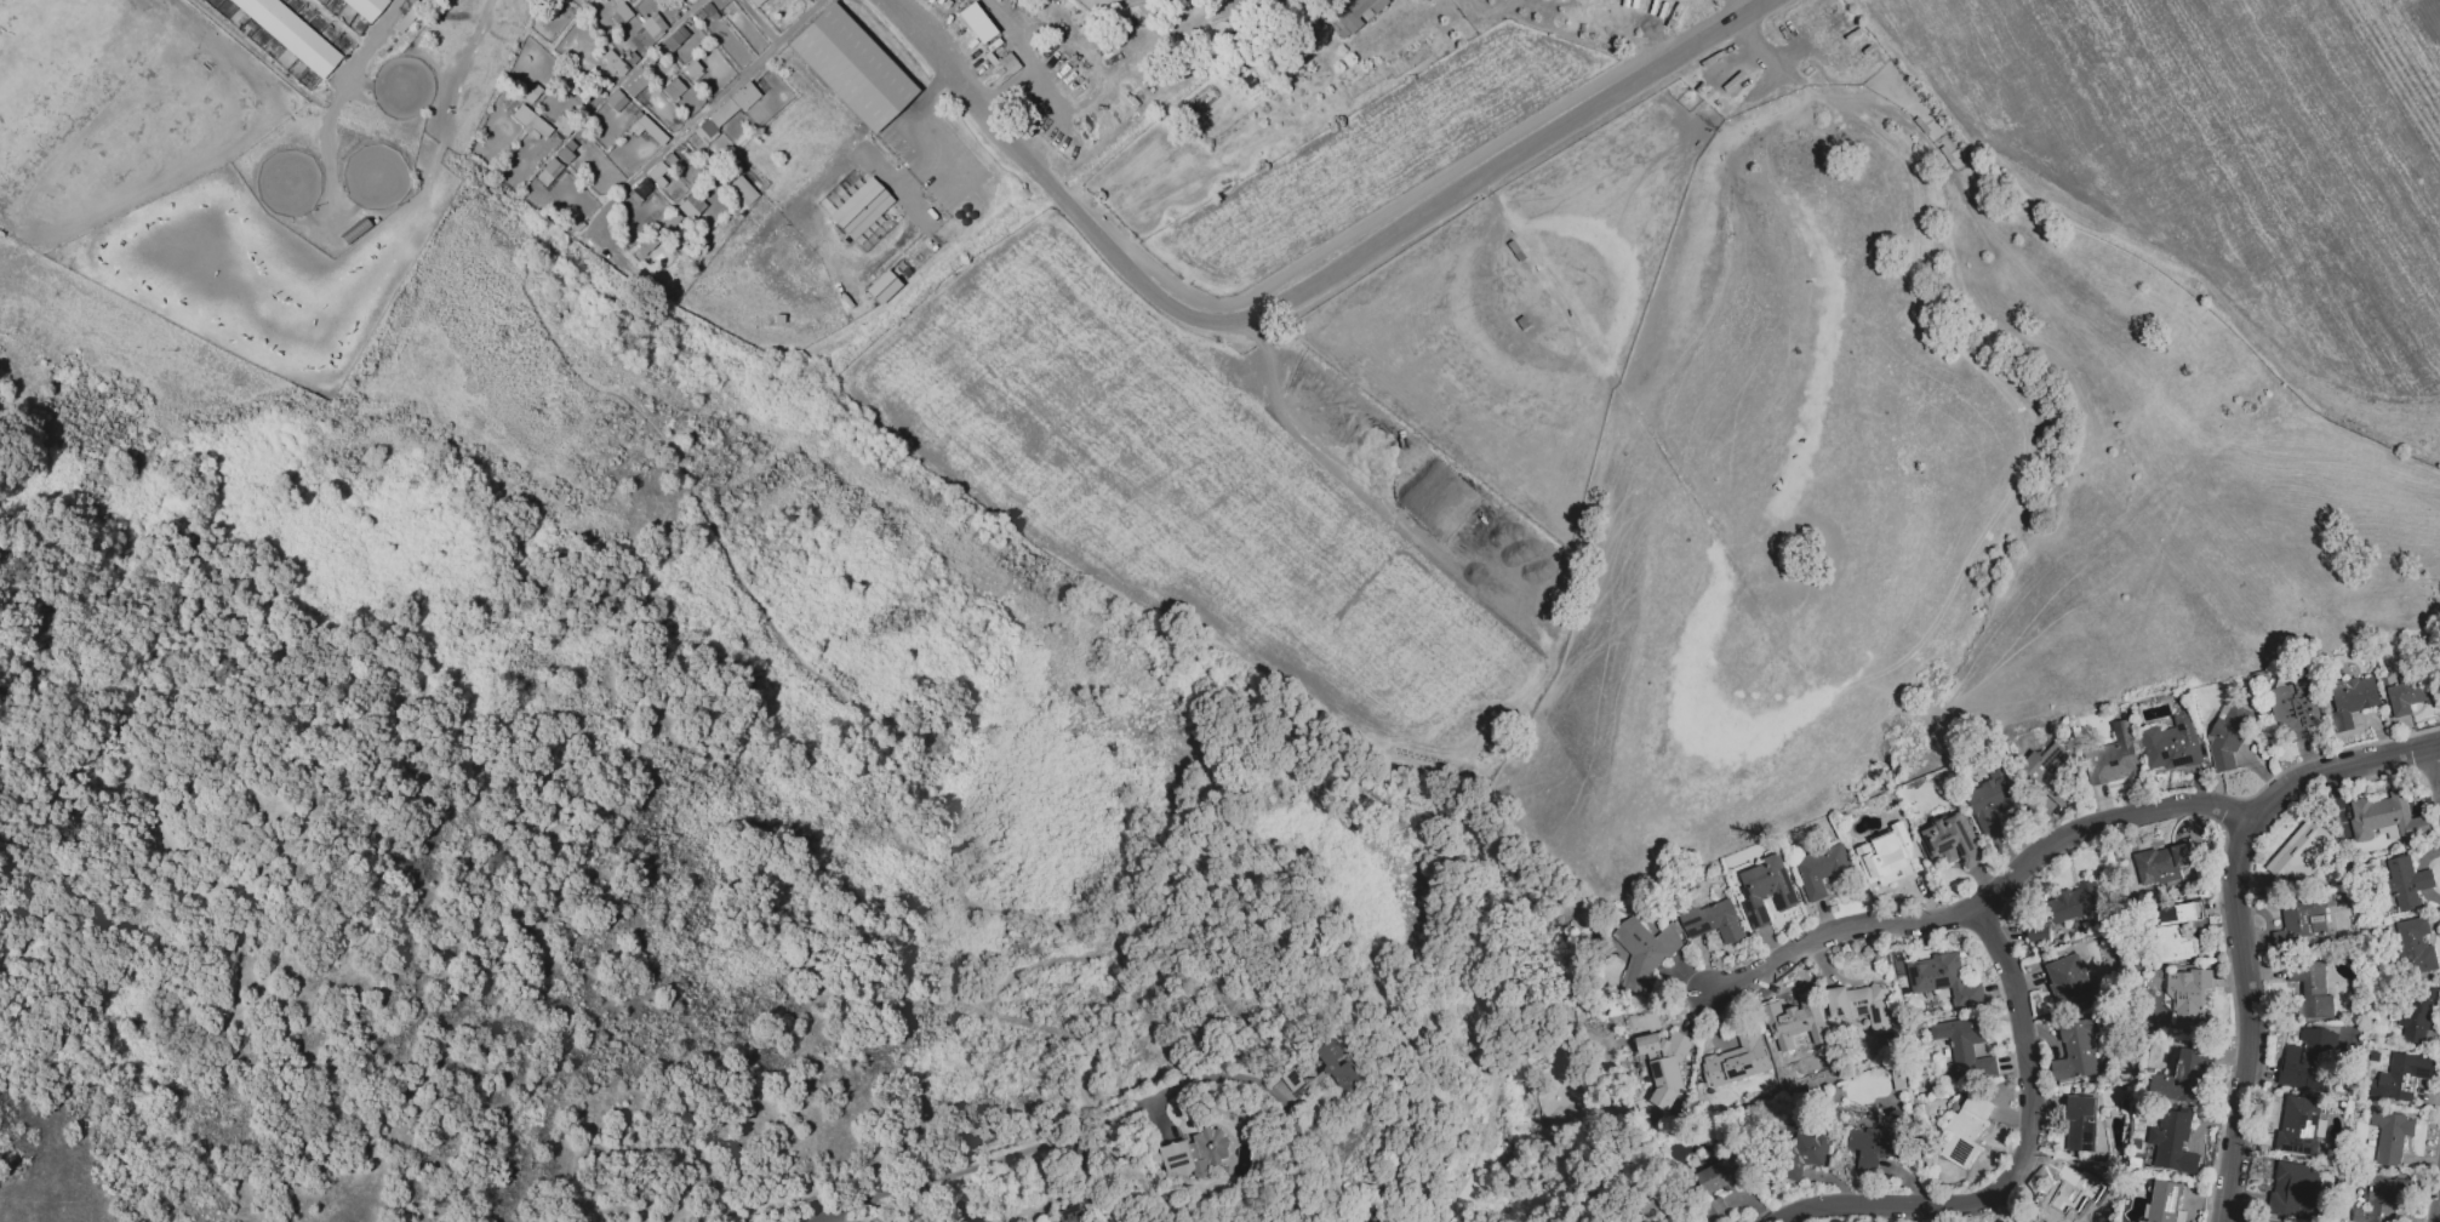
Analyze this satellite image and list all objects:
building: (754, 1)
building: (1109, 2)
building: (545, 4)
building: (718, 4)
road: (1758, 4)
building: (364, 7)
building: (618, 13)
building: (1349, 13)
building: (707, 15)
building: (349, 18)
building: (975, 22)
building: (406, 23)
building: (290, 34)
building: (1244, 34)
building: (655, 38)
building: (673, 38)
road: (365, 41)
building: (604, 53)
building: (633, 61)
building: (648, 64)
building: (690, 67)
building: (850, 67)
park: (850, 67)
building: (640, 73)
park: (399, 85)
building: (632, 87)
building: (670, 87)
road: (718, 99)
building: (531, 101)
building: (617, 103)
building: (733, 107)
building: (527, 118)
road: (915, 125)
building: (538, 126)
building: (565, 130)
building: (647, 130)
building: (708, 131)
building: (753, 142)
building: (564, 156)
building: (670, 162)
building: (553, 165)
building: (720, 175)
park: (372, 176)
building: (655, 179)
park: (285, 182)
building: (641, 193)
building: (859, 207)
building: (685, 210)
building: (674, 221)
building: (667, 225)
building: (651, 244)
building: (1527, 262)
building: (880, 286)
road: (1298, 295)
building: (2408, 693)
building: (2352, 701)
building: (2293, 708)
building: (2229, 732)
building: (2171, 743)
road: (2439, 744)
building: (2112, 758)
building: (2047, 766)
building: (1992, 799)
building: (2387, 818)
building: (1950, 841)
building: (1884, 852)
building: (2299, 853)
building: (2162, 863)
building: (1821, 869)
building: (2407, 883)
building: (1766, 889)
building: (2072, 903)
road: (1981, 904)
road: (2240, 912)
building: (1714, 921)
building: (2303, 921)
building: (2038, 931)
building: (2177, 931)
building: (2416, 946)
building: (1642, 953)
building: (2067, 978)
building: (1943, 980)
building: (2312, 988)
building: (2188, 1000)
building: (1862, 1005)
building: (2417, 1015)
building: (1790, 1032)
building: (1965, 1049)
building: (2075, 1050)
building: (1736, 1060)
building: (2307, 1061)
building: (1336, 1063)
building: (1664, 1064)
building: (2400, 1077)
building: (2182, 1079)
road: (1268, 1103)
road: (1092, 1118)
building: (2080, 1124)
building: (2299, 1125)
building: (1965, 1130)
building: (2390, 1136)
building: (1879, 1142)
building: (2172, 1142)
building: (1194, 1153)
building: (1805, 1153)
road: (2028, 1159)
building: (1719, 1175)
road: (925, 1187)
building: (2293, 1189)
building: (2061, 1197)
building: (2377, 1200)
building: (2164, 1201)
building: (1714, 1210)
building: (1651, 1211)
building: (1073, 1215)
road: (2439, 1220)
building: (2262, 1221)

